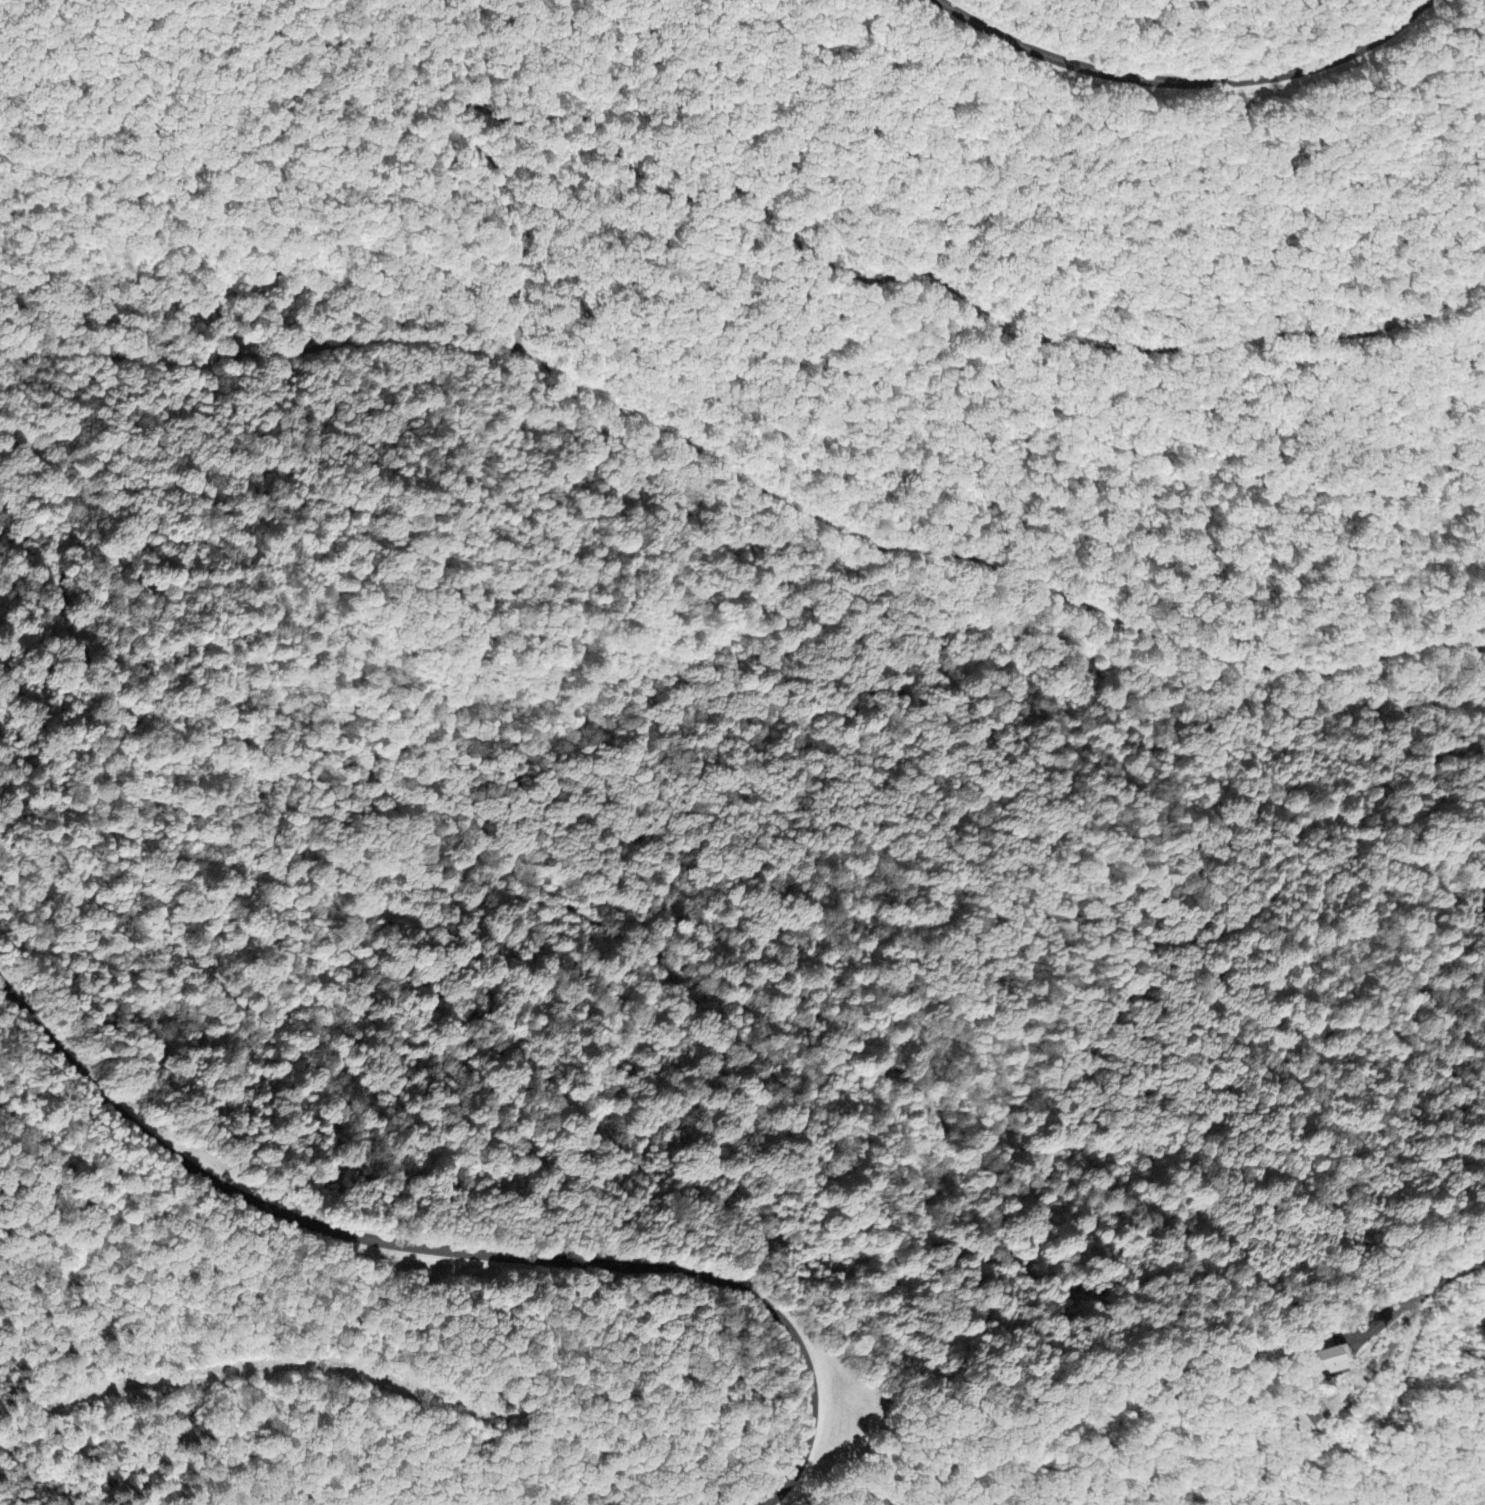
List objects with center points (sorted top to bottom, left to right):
road: (1186, 80)
road: (665, 408)
road: (690, 461)
road: (967, 706)
road: (456, 1250)
building: (1330, 1361)

